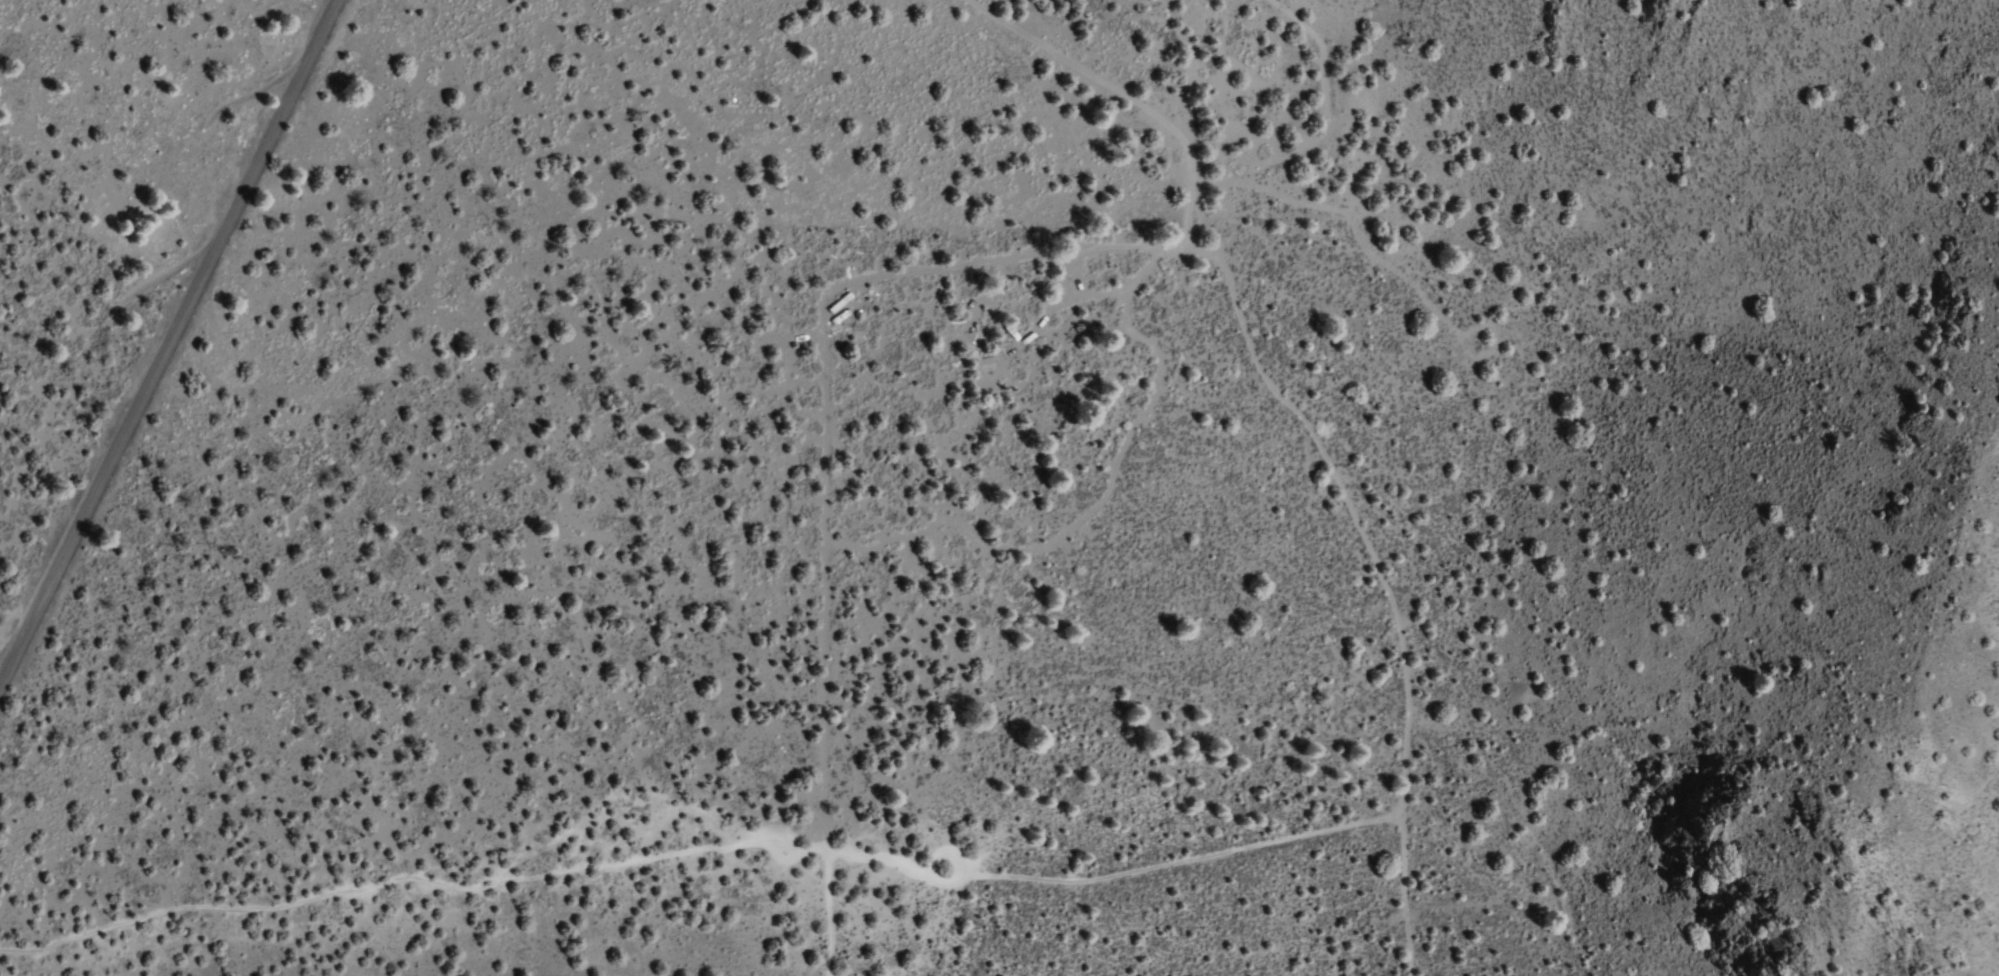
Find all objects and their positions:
road: (1124, 91)
road: (162, 332)
road: (820, 433)
road: (1382, 590)
road: (697, 845)

